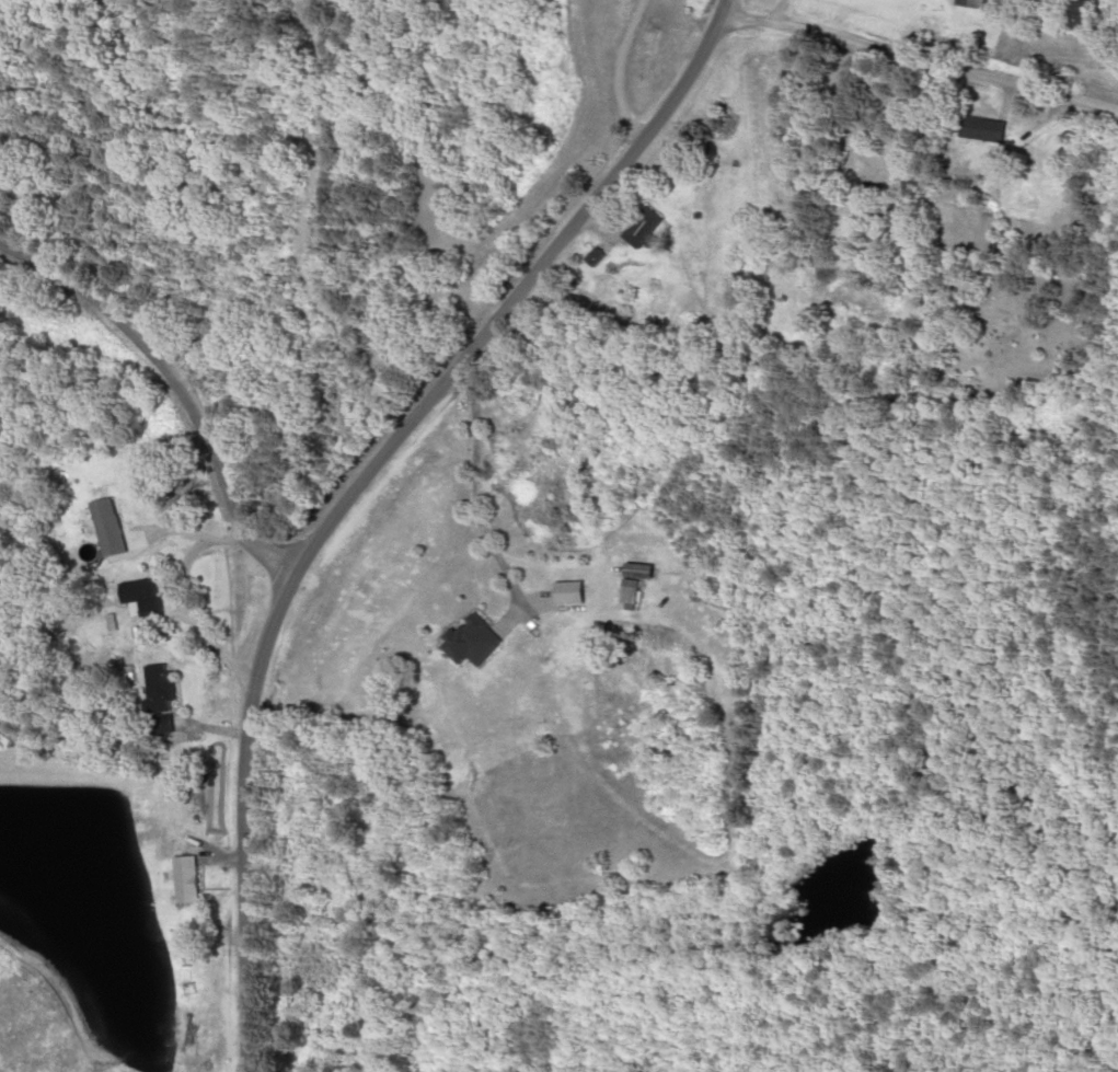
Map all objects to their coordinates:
road: (736, 4)
building: (983, 4)
building: (1087, 15)
road: (927, 51)
road: (630, 61)
building: (726, 120)
building: (990, 127)
building: (655, 223)
building: (606, 254)
road: (514, 285)
building: (838, 306)
building: (1038, 313)
road: (178, 373)
building: (116, 526)
building: (644, 583)
building: (152, 595)
building: (484, 639)
building: (168, 688)
road: (253, 815)
building: (194, 879)

